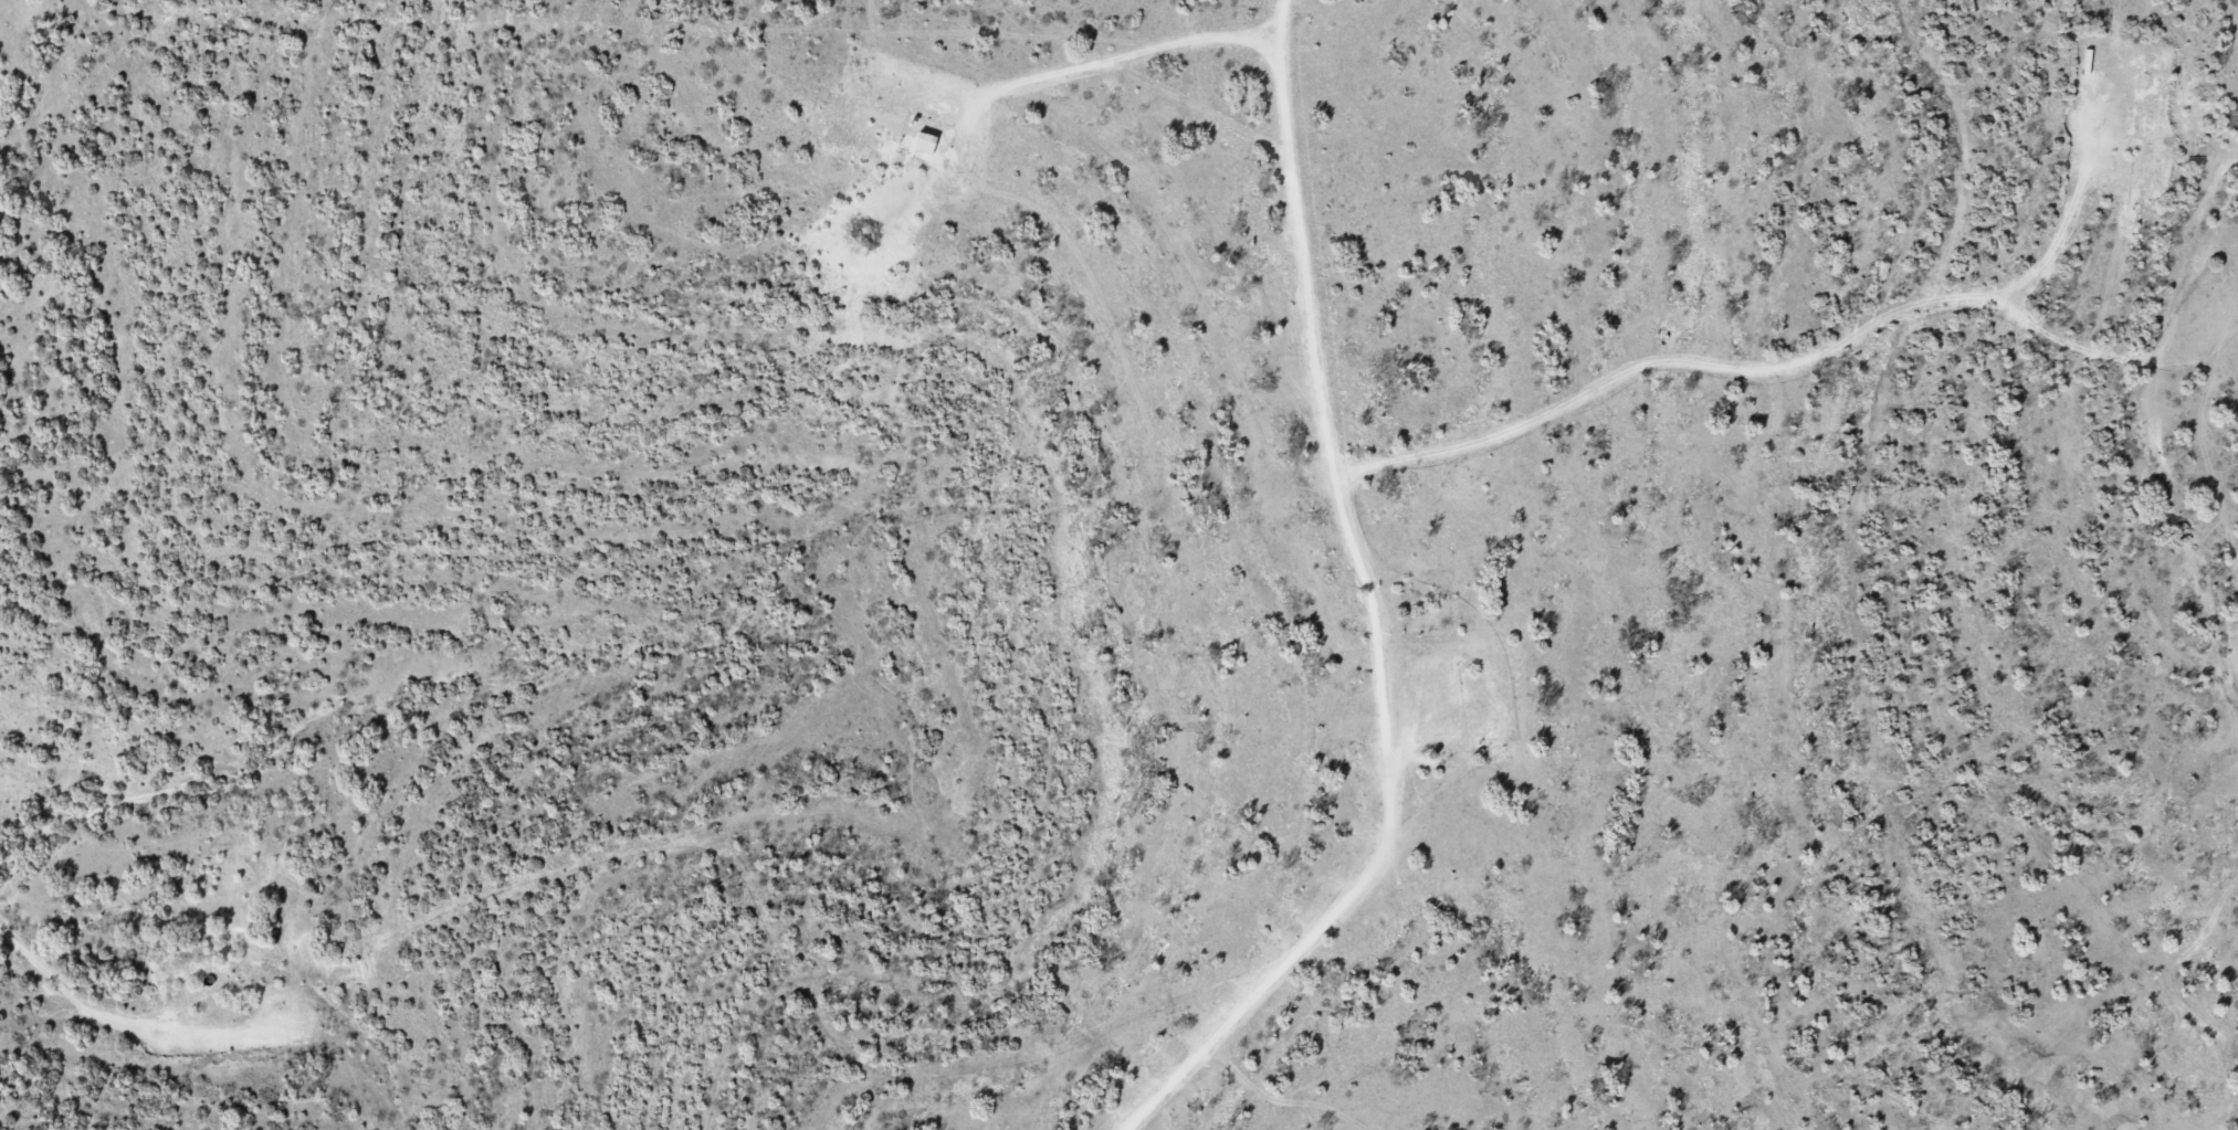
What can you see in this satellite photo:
road: (1218, 1003)

